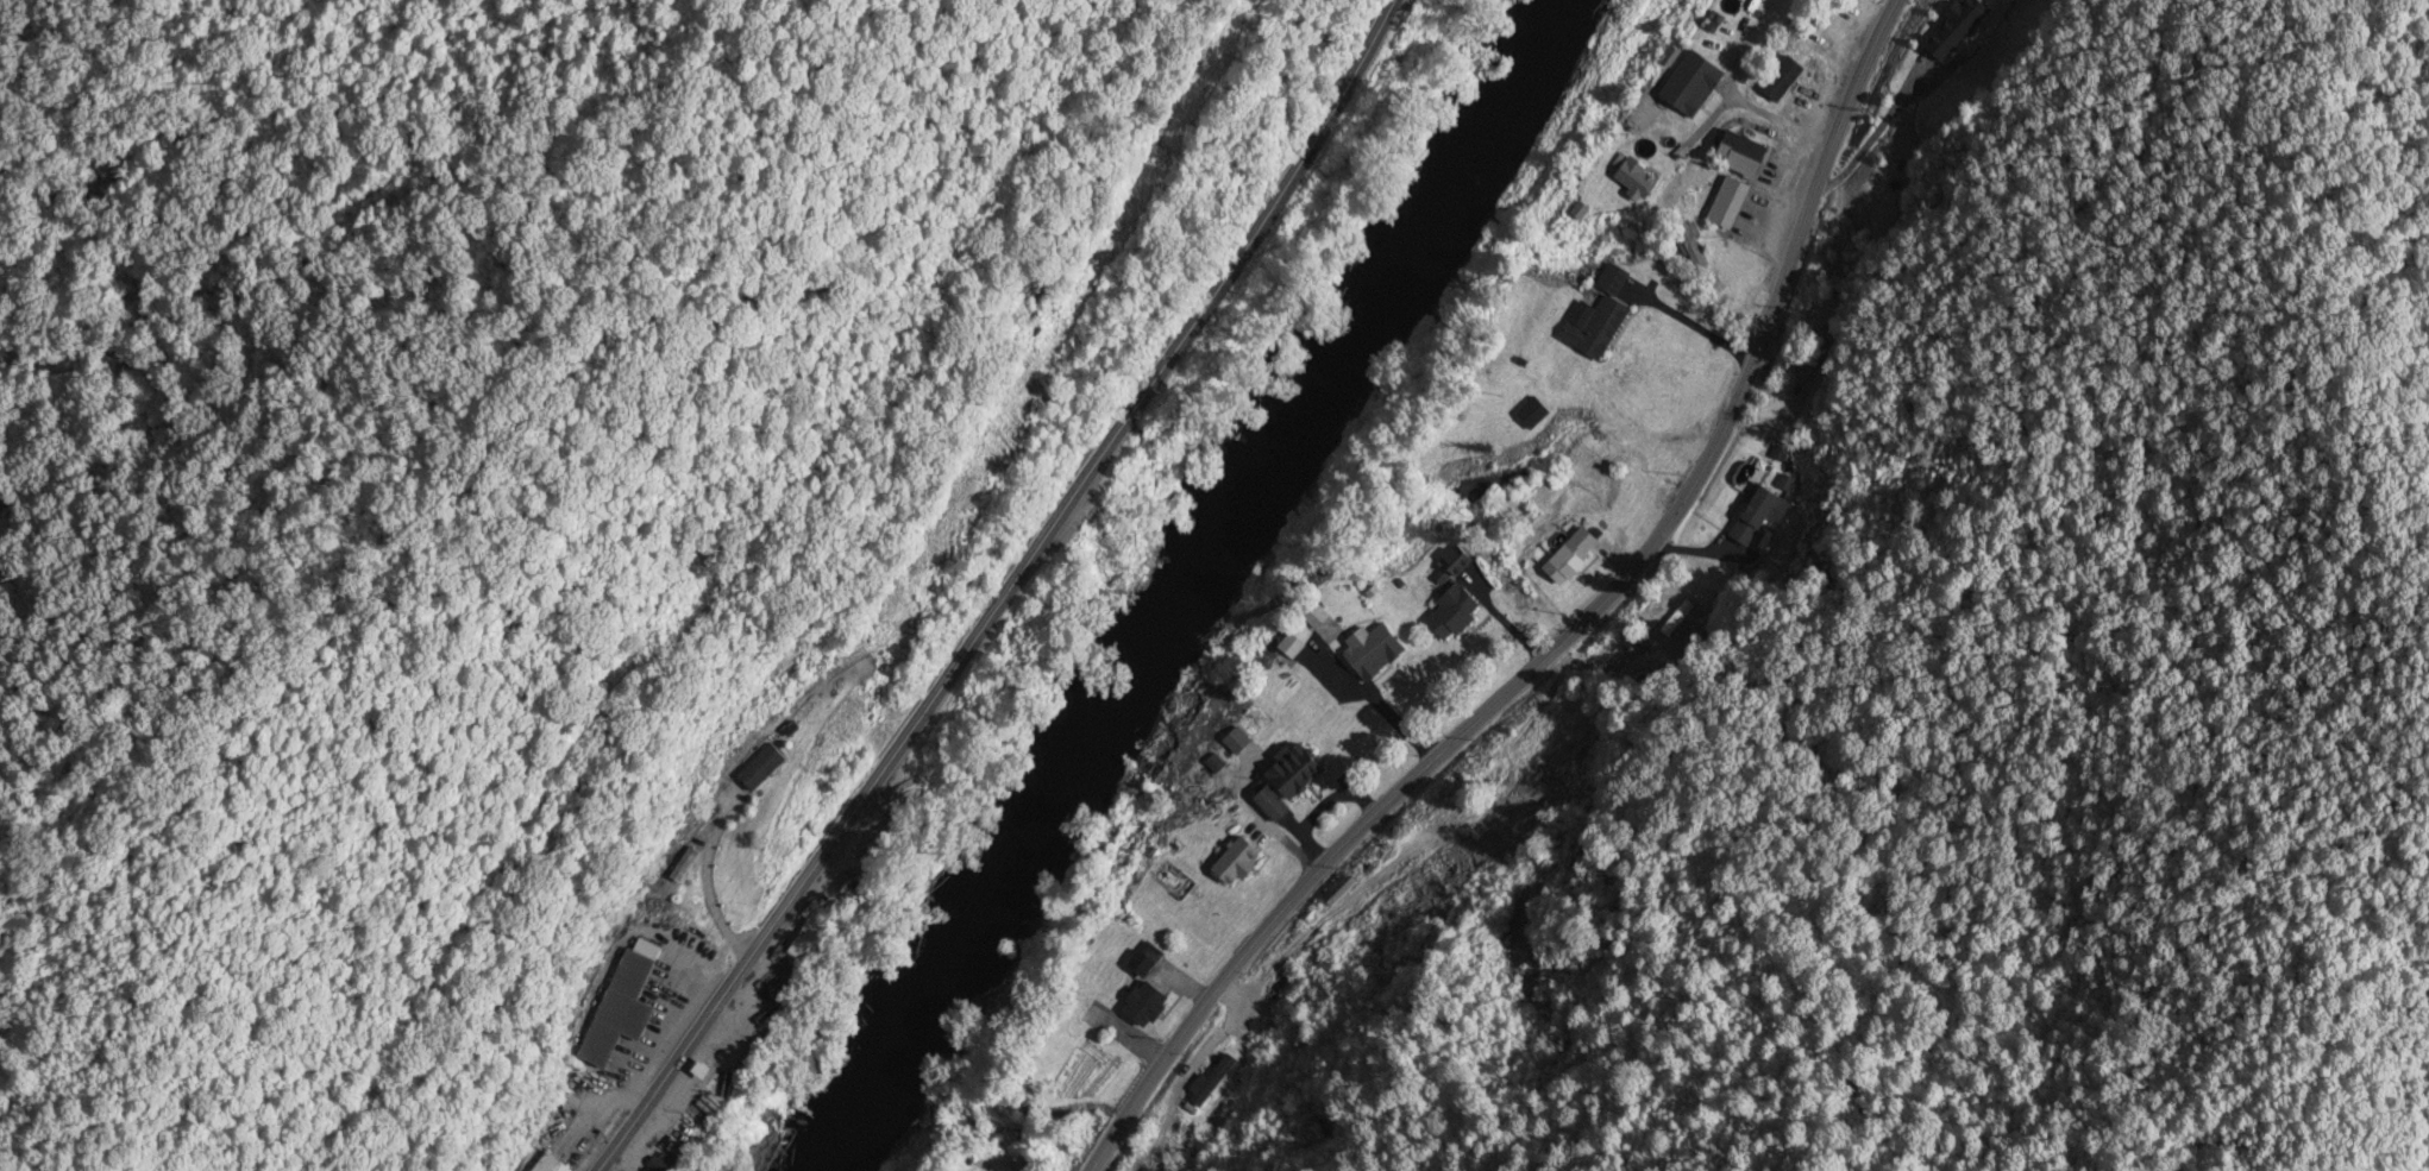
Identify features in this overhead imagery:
building: (1963, 26)
building: (1695, 88)
building: (1745, 155)
building: (1639, 177)
building: (1731, 203)
building: (1600, 321)
building: (1806, 371)
building: (1758, 516)
building: (1574, 558)
river: (1192, 584)
road: (1008, 591)
building: (1456, 616)
road: (1571, 634)
building: (1375, 653)
building: (767, 769)
building: (1300, 775)
building: (1274, 805)
building: (1241, 862)
building: (685, 868)
building: (1174, 882)
building: (818, 942)
building: (1149, 1006)
building: (622, 1011)
building: (1213, 1082)
building: (672, 1160)
building: (552, 1164)

